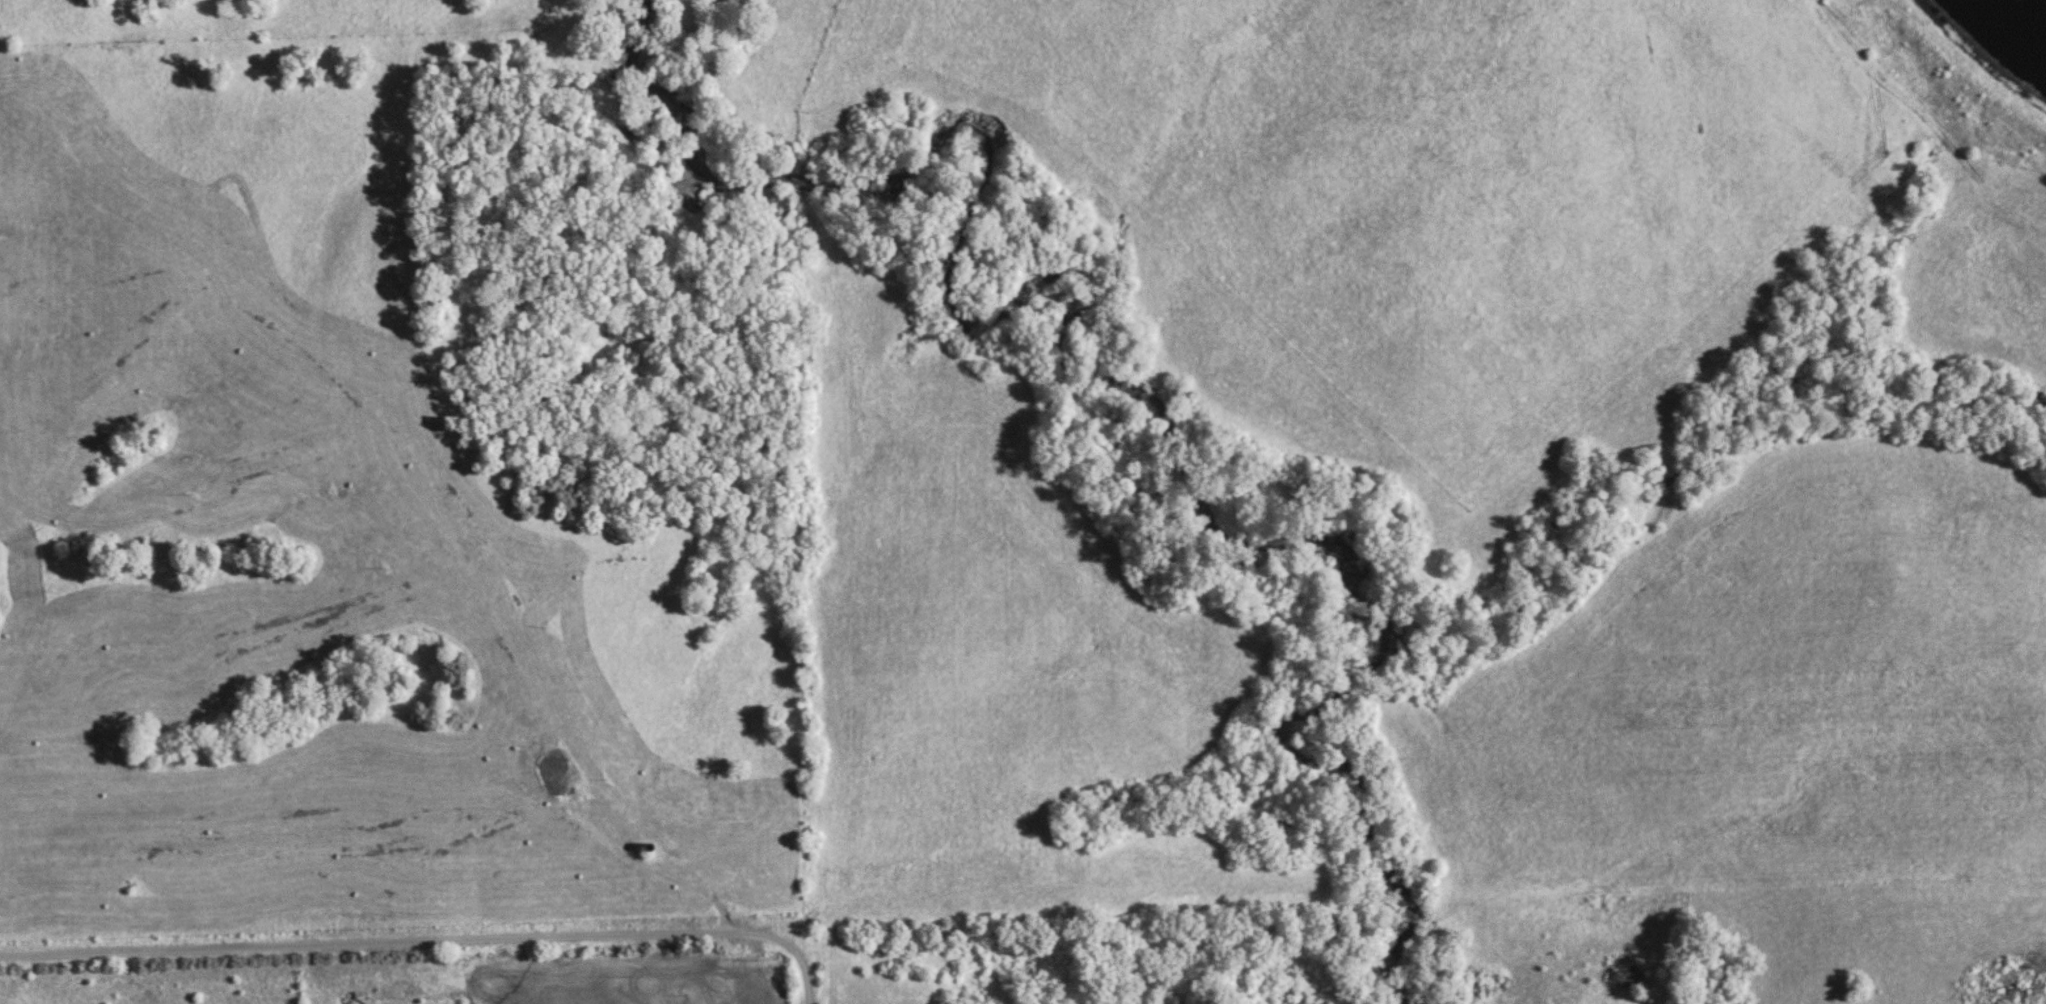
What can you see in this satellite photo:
road: (426, 939)

